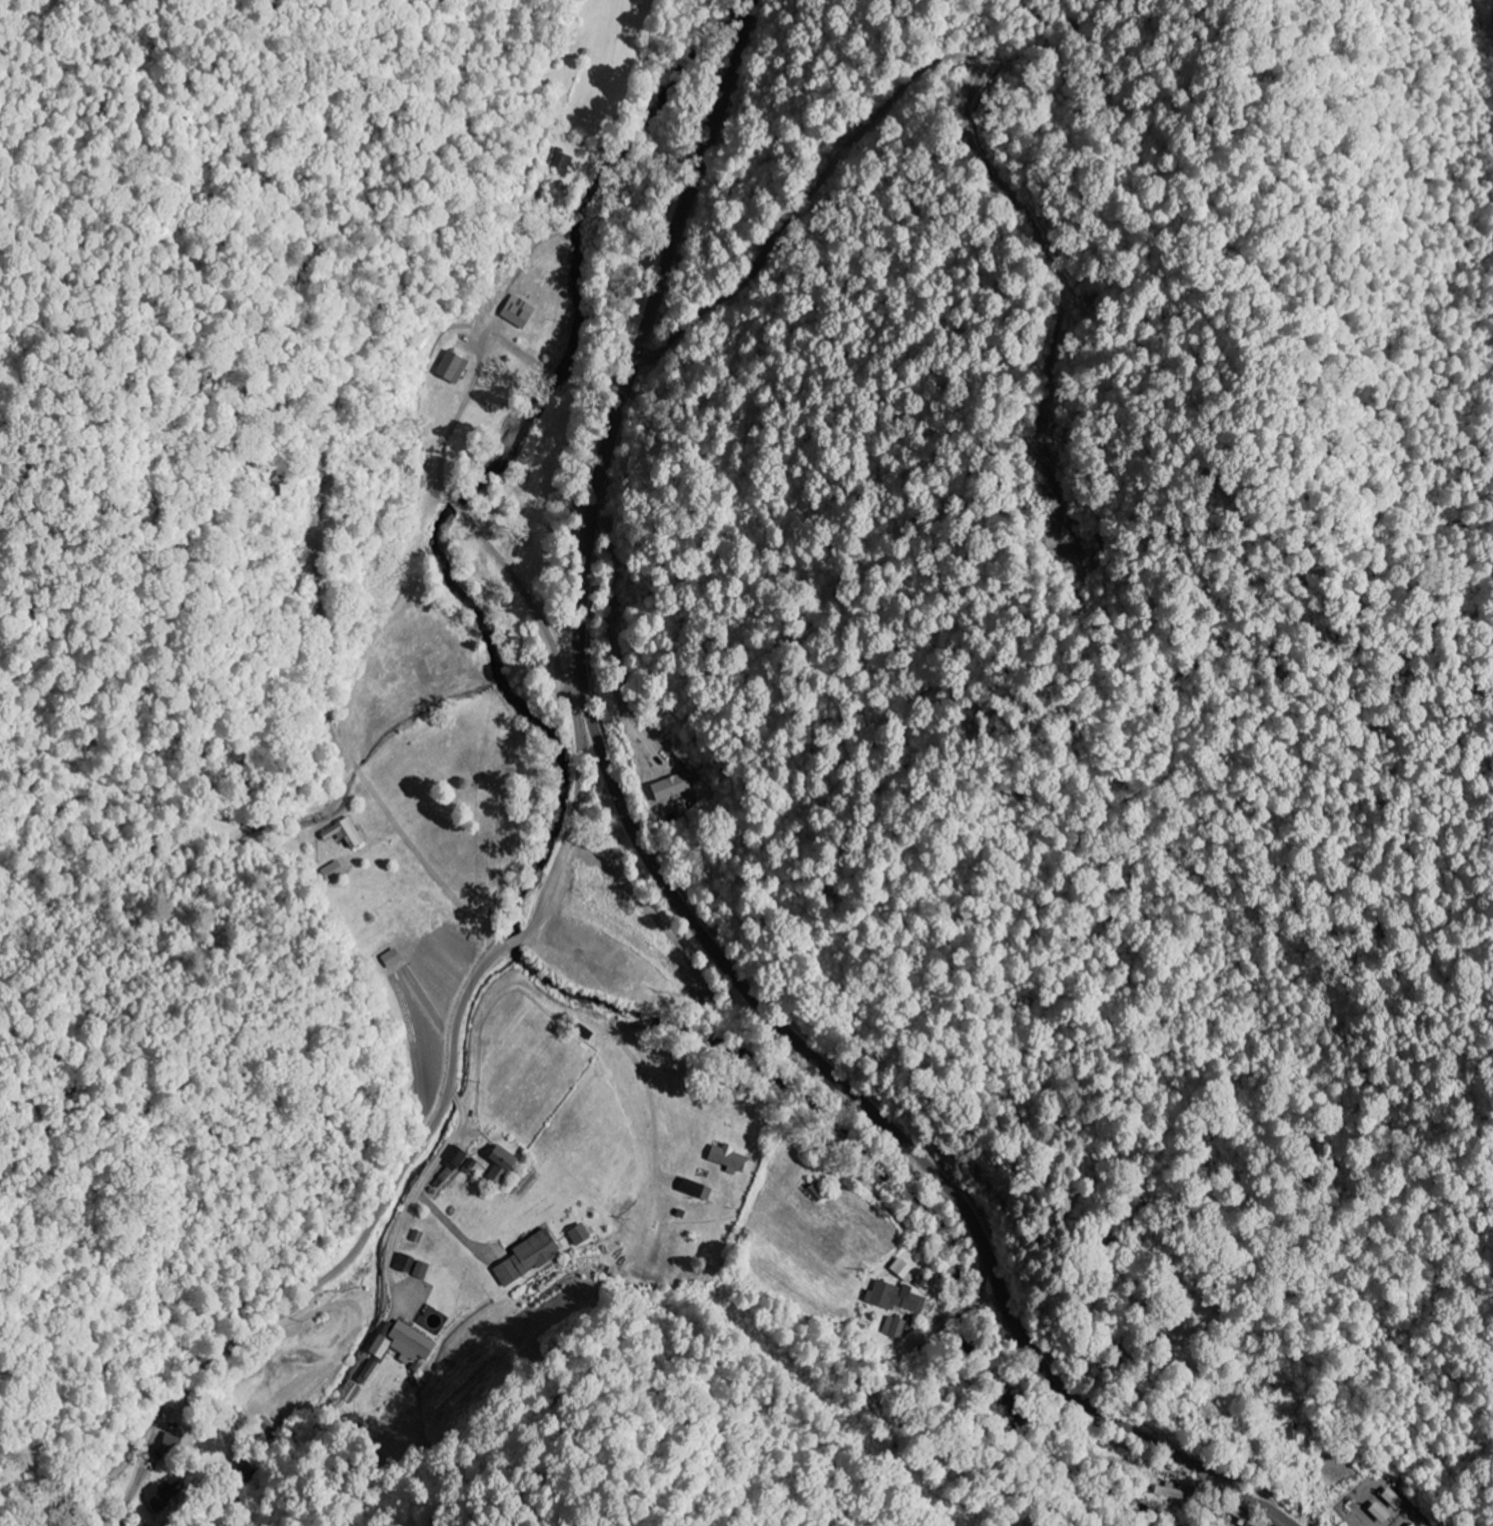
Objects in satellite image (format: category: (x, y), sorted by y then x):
building: (560, 162)
building: (519, 313)
building: (453, 368)
building: (672, 787)
building: (347, 833)
building: (333, 872)
road: (664, 878)
building: (392, 959)
road: (412, 1156)
building: (730, 1158)
building: (461, 1160)
building: (504, 1164)
building: (698, 1189)
building: (817, 1194)
building: (581, 1235)
building: (419, 1236)
building: (530, 1258)
building: (406, 1263)
building: (903, 1269)
building: (422, 1270)
road: (1071, 1281)
building: (897, 1298)
road: (964, 1311)
building: (898, 1327)
building: (404, 1343)
building: (369, 1372)
building: (173, 1443)
road: (149, 1463)
building: (1171, 1492)
building: (166, 1493)
building: (1394, 1500)
building: (1382, 1513)

